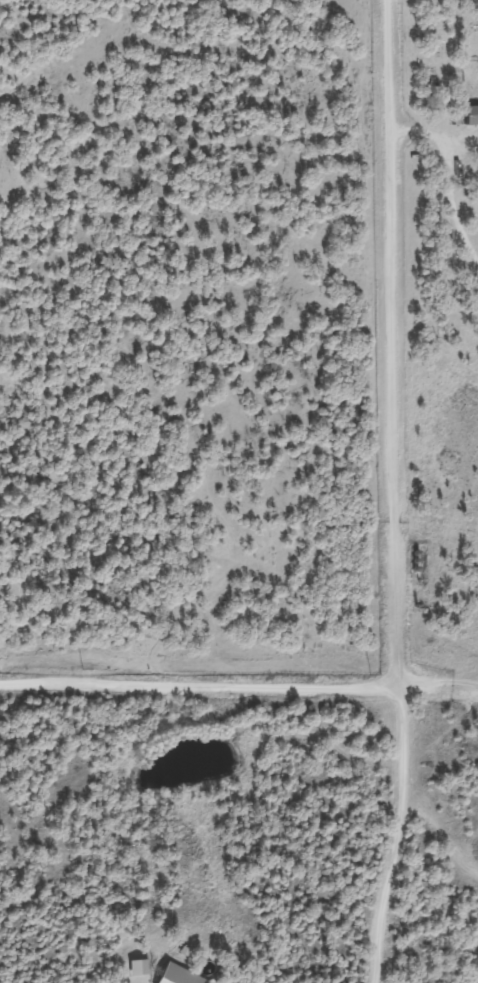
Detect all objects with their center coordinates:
road: (413, 332)
road: (208, 666)
building: (139, 967)
building: (180, 976)

